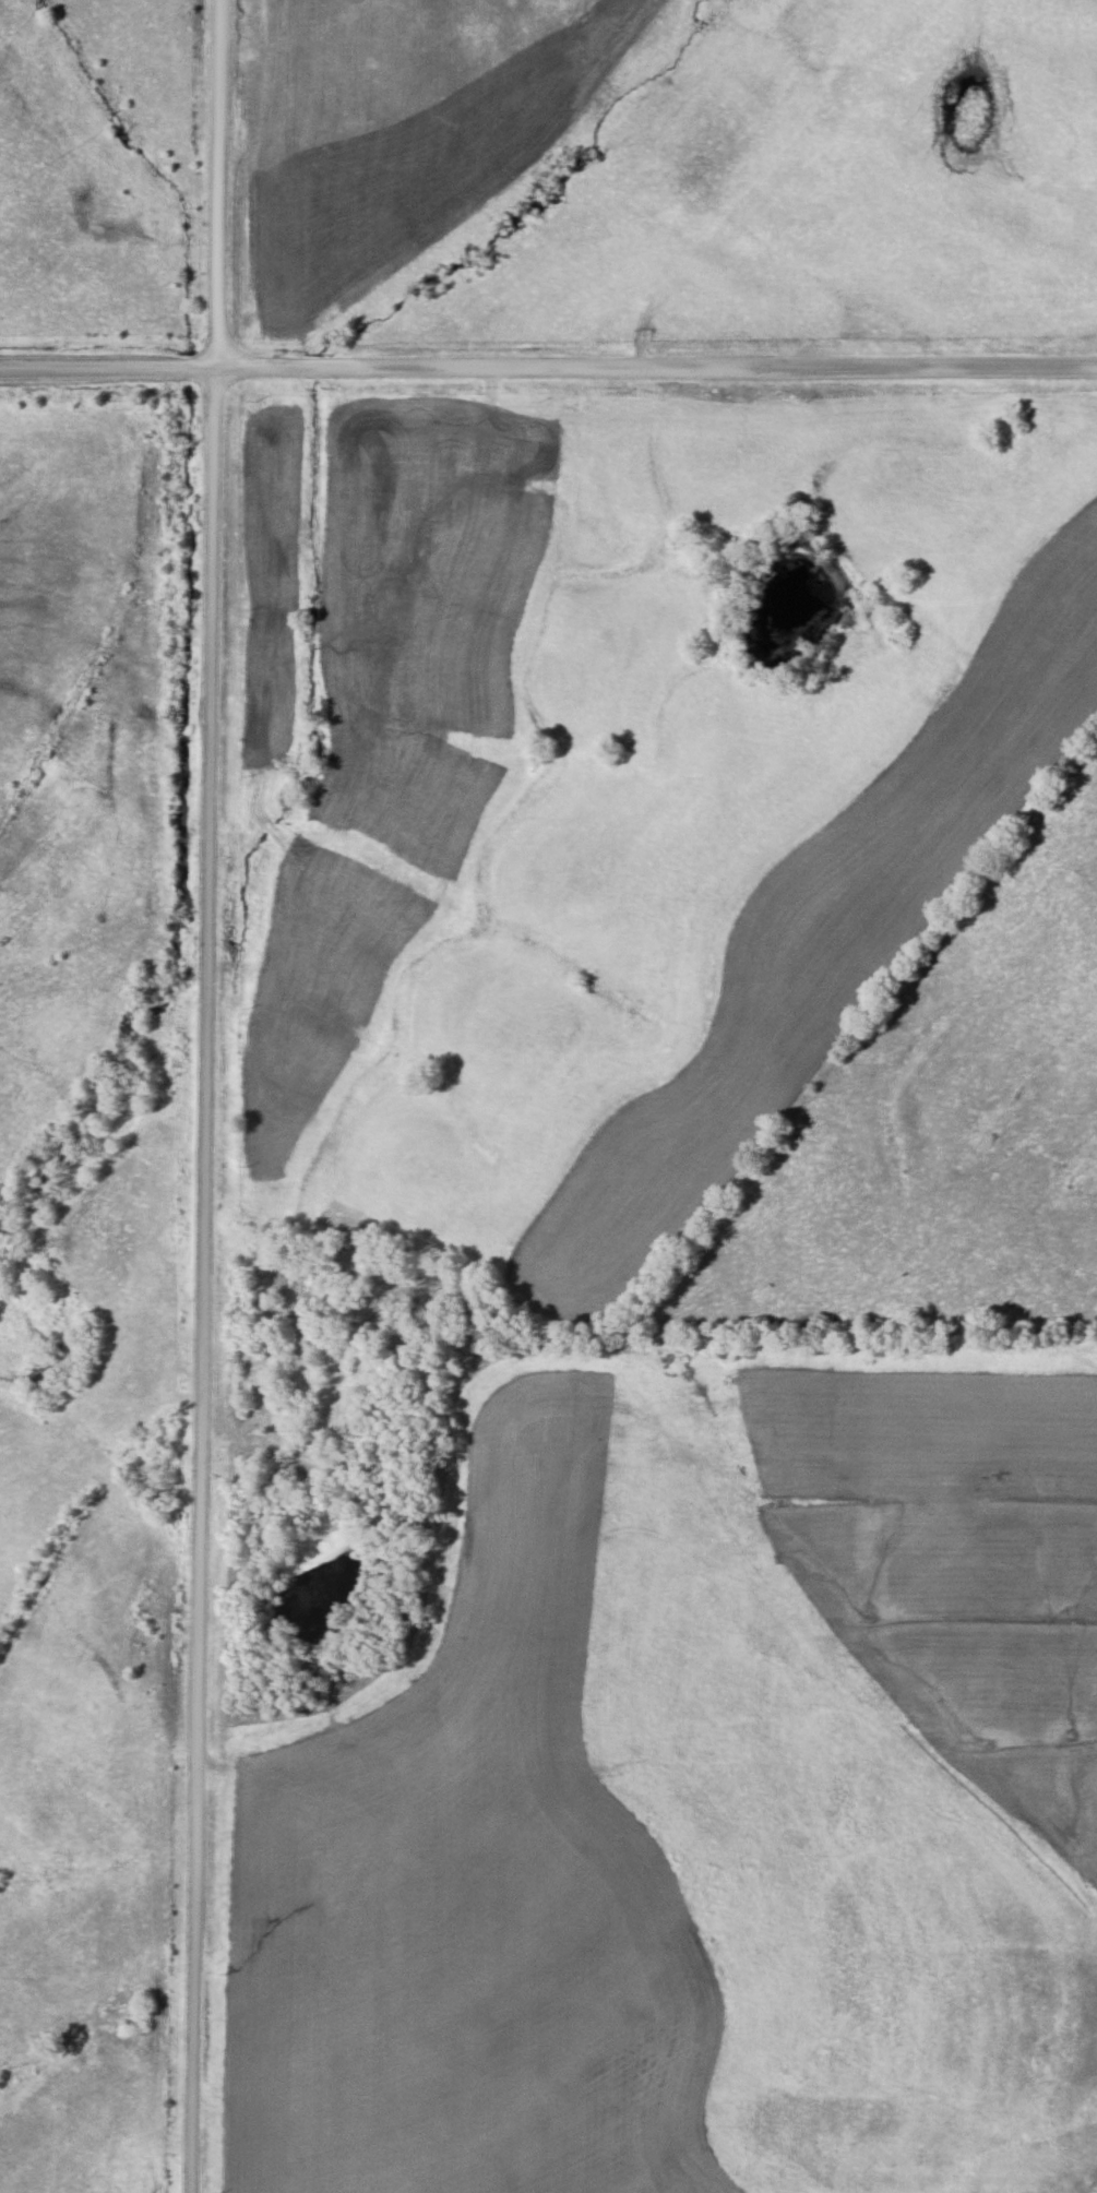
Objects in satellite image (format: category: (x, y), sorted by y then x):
road: (548, 369)
road: (205, 1096)

